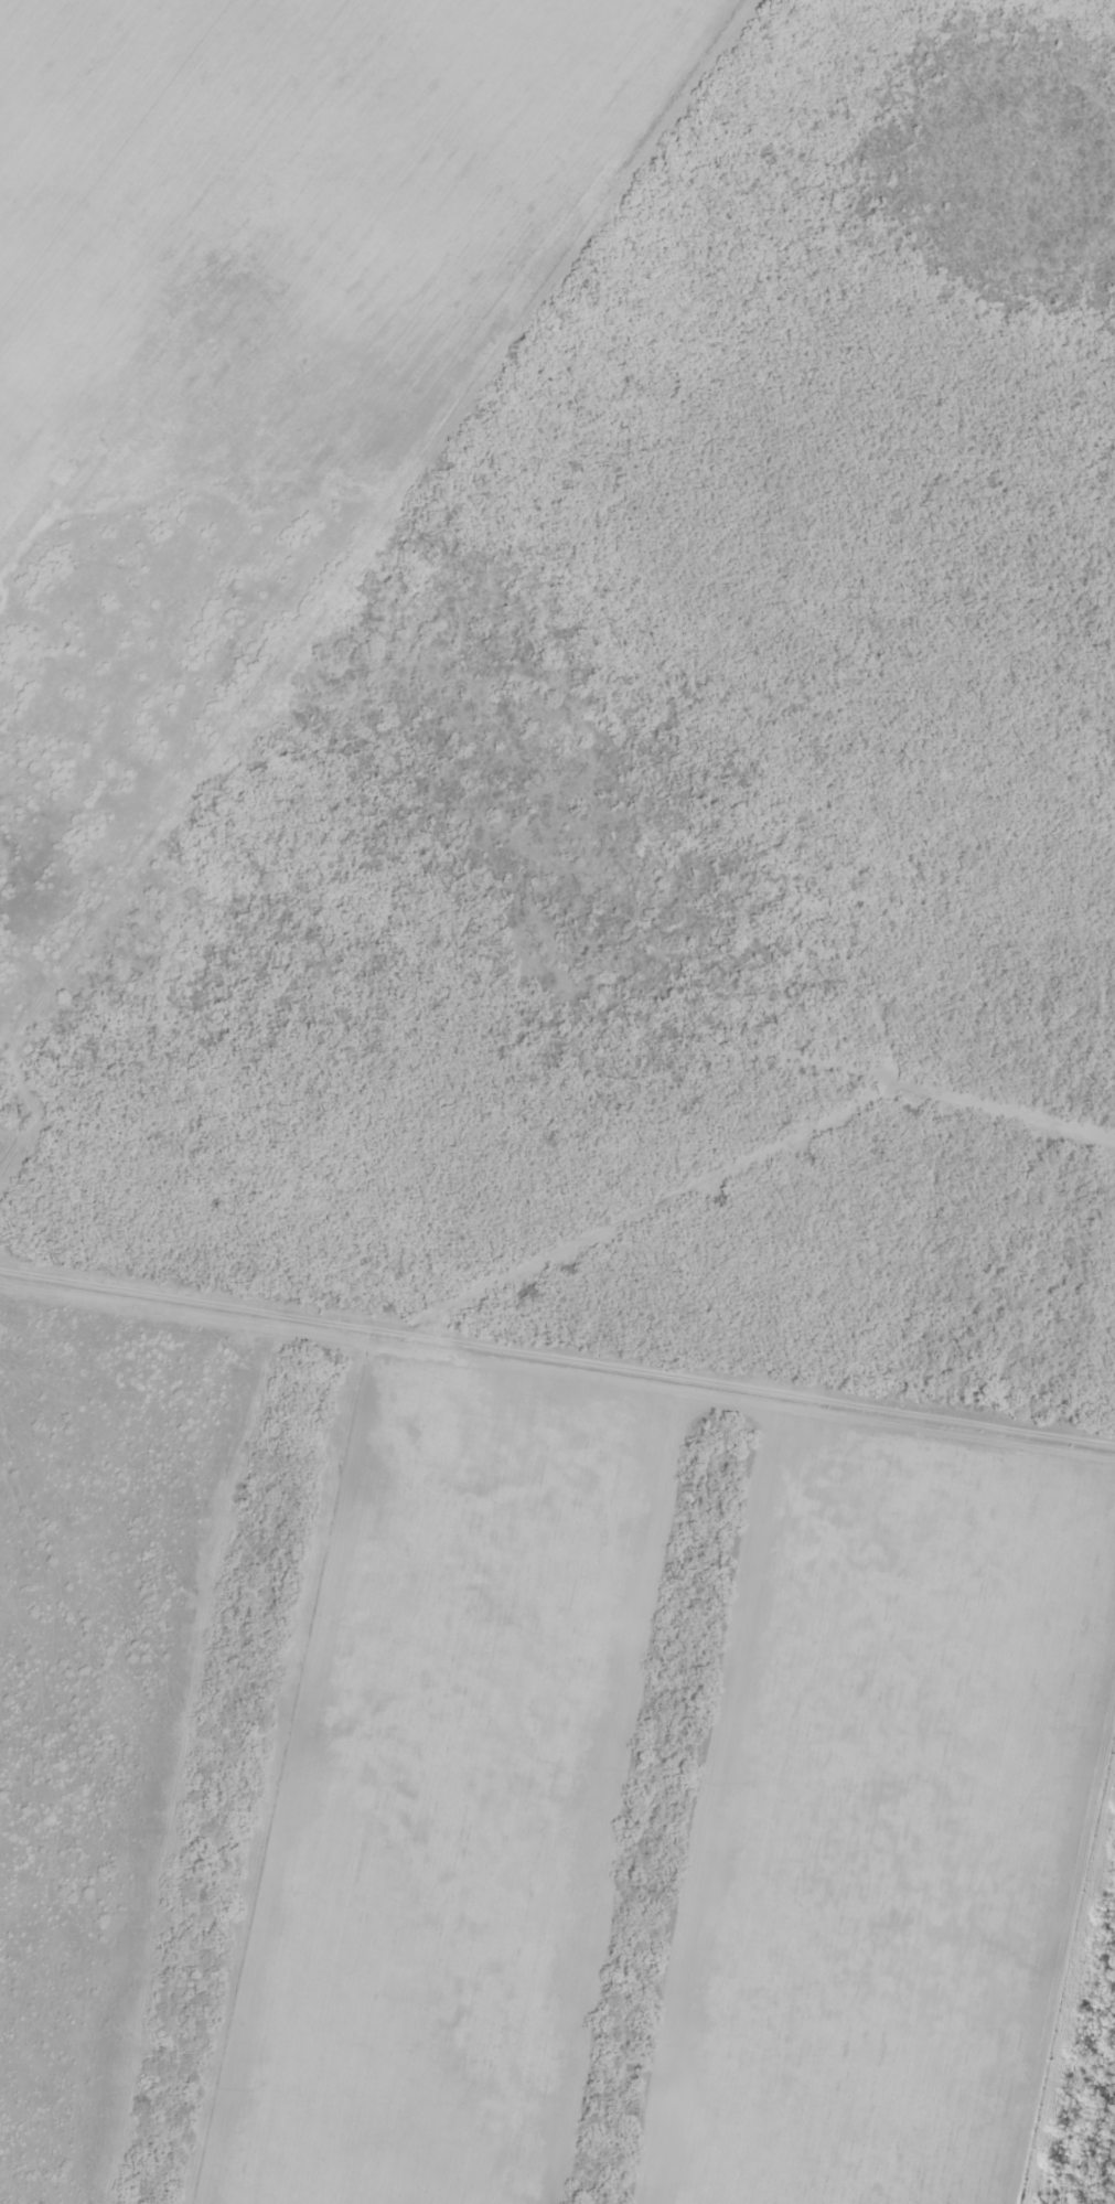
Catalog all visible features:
road: (461, 612)
road: (557, 1349)

